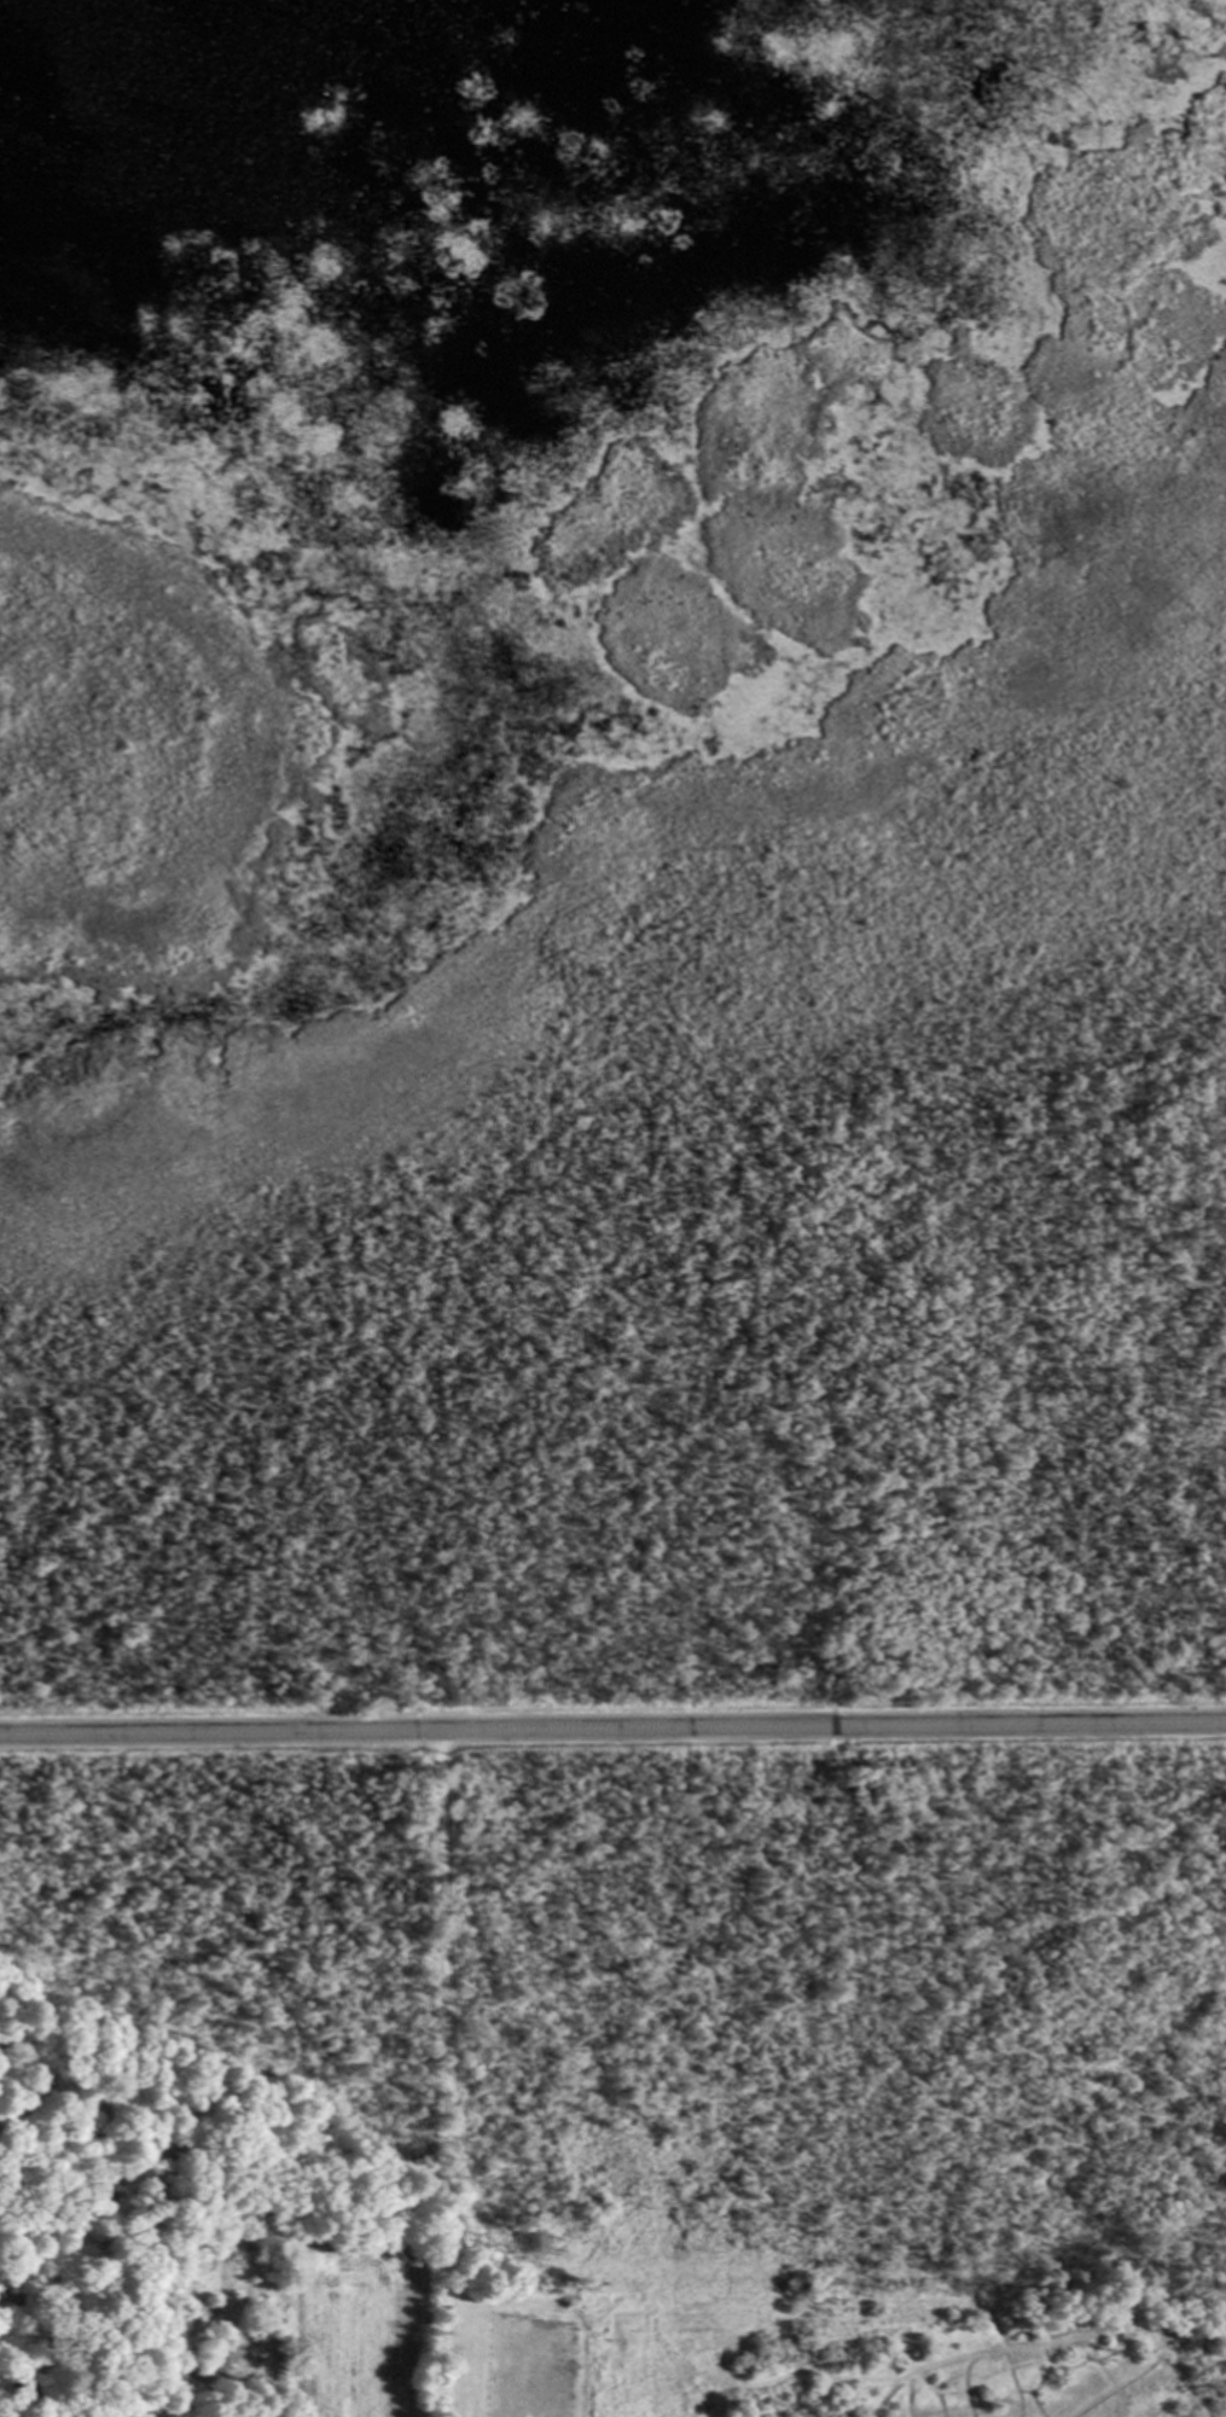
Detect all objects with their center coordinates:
road: (612, 1728)
road: (447, 2073)

